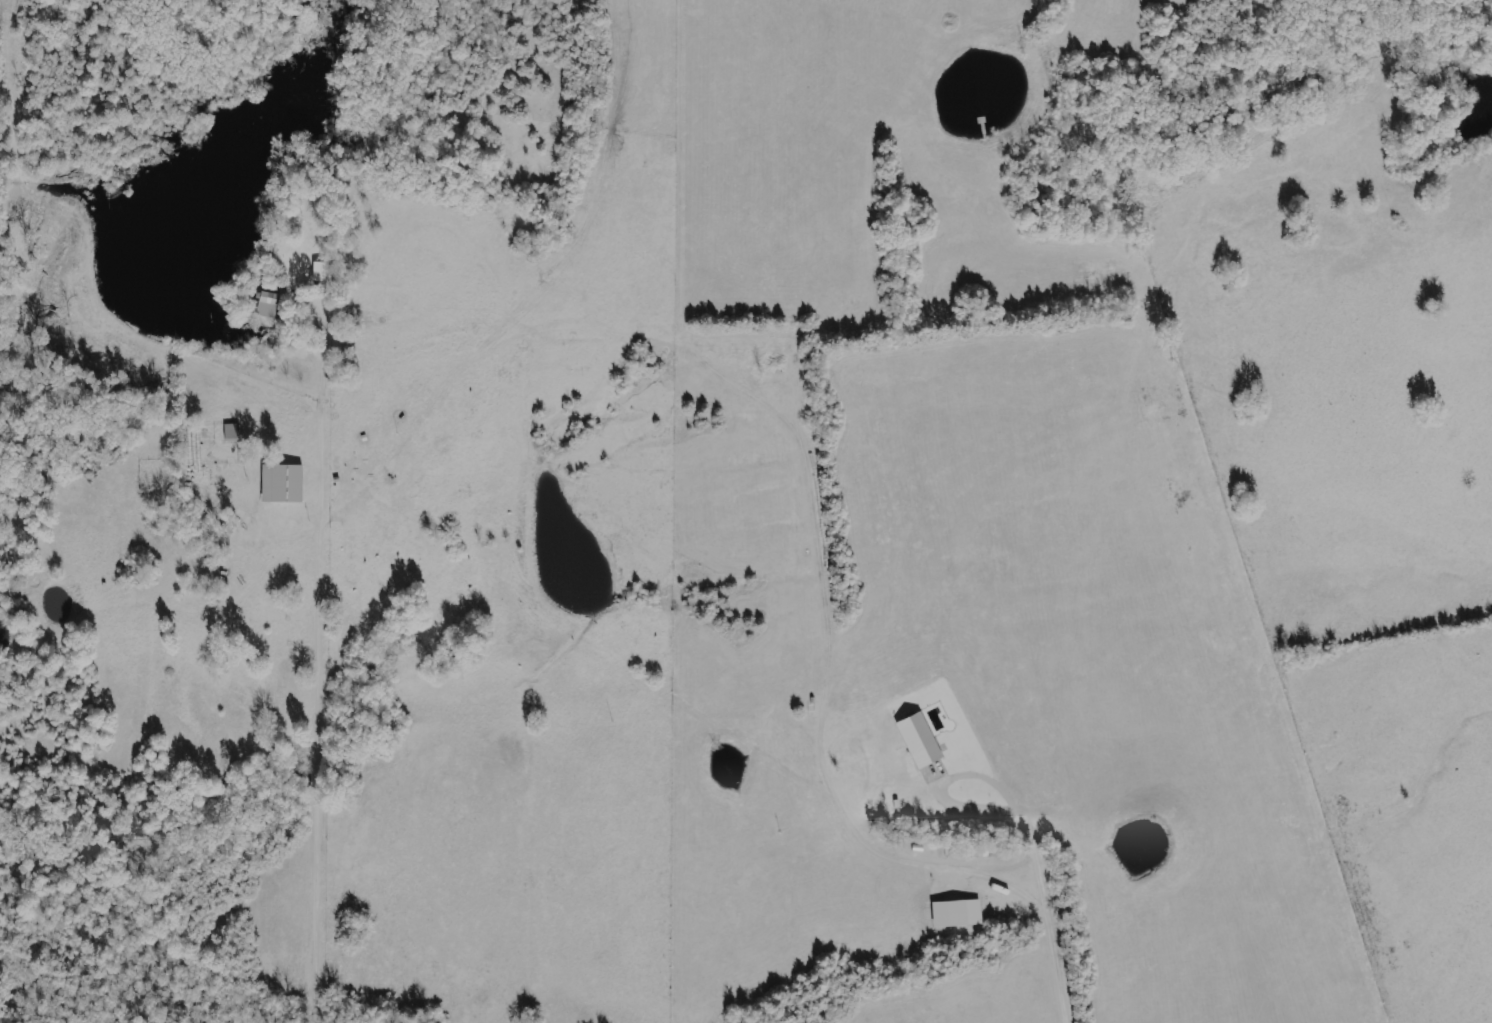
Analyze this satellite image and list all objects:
park: (1462, 18)
building: (266, 297)
building: (266, 310)
building: (231, 431)
building: (919, 739)
building: (949, 914)

